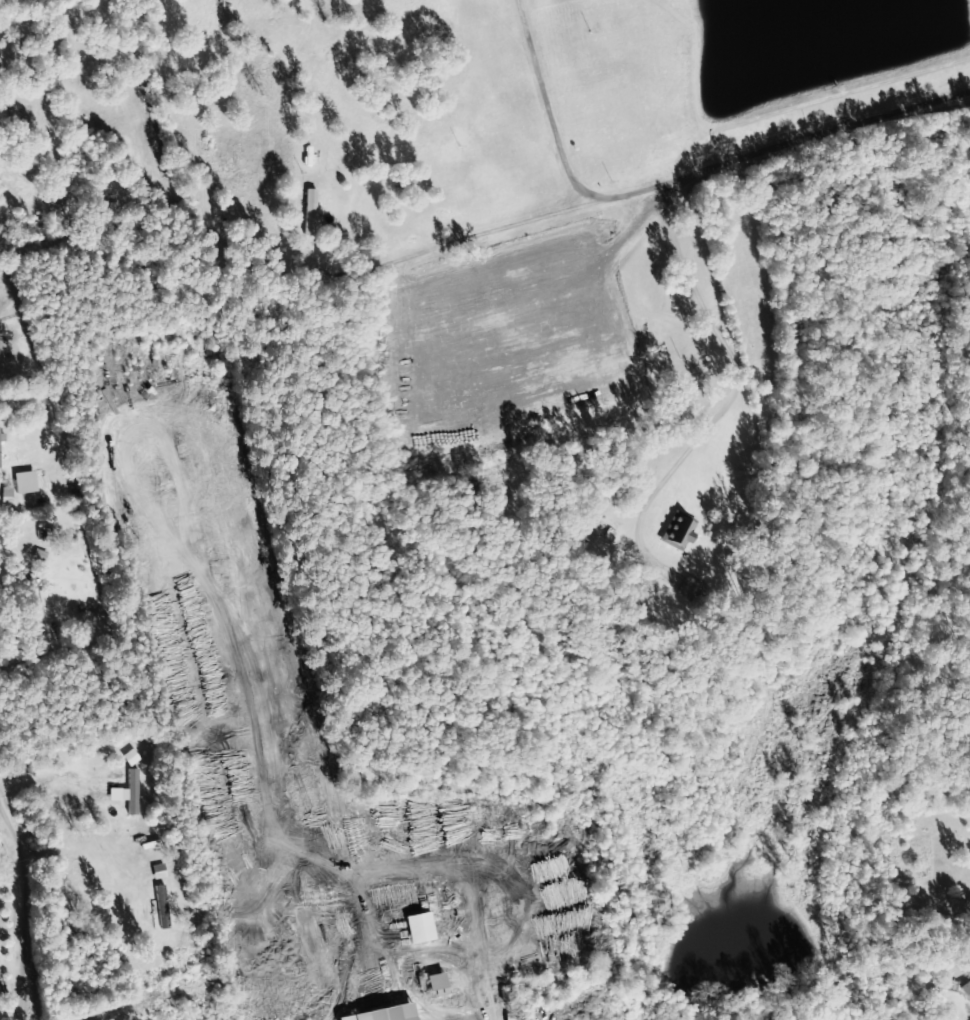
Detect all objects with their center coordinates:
building: (315, 213)
building: (1, 449)
building: (28, 483)
building: (11, 495)
building: (681, 531)
building: (692, 589)
building: (35, 590)
building: (134, 758)
building: (131, 793)
building: (162, 872)
road: (24, 907)
building: (165, 907)
building: (423, 929)
road: (459, 974)
building: (439, 986)
building: (967, 990)
building: (389, 1014)

